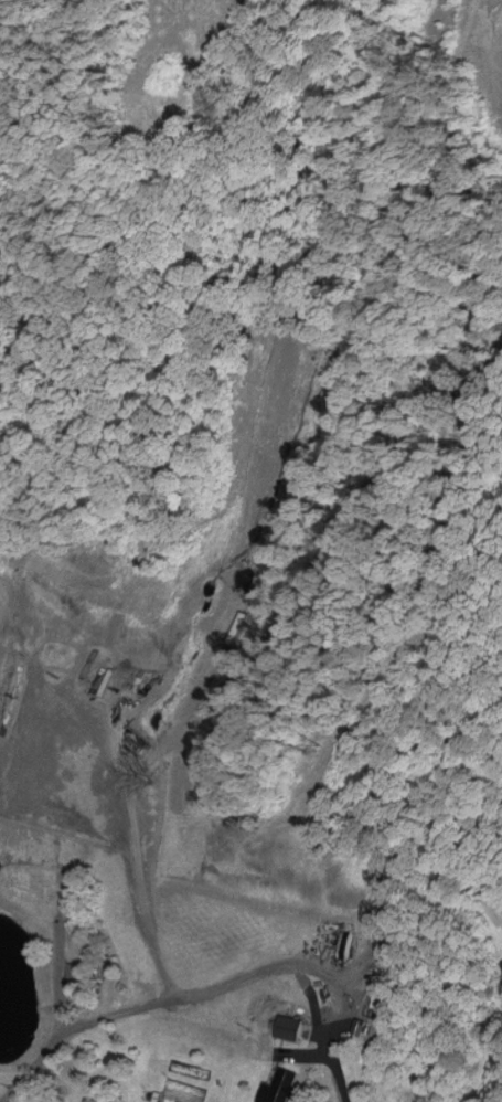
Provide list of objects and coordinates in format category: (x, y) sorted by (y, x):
road: (139, 869)
road: (248, 975)
road: (55, 1020)
building: (286, 1029)
building: (278, 1088)

